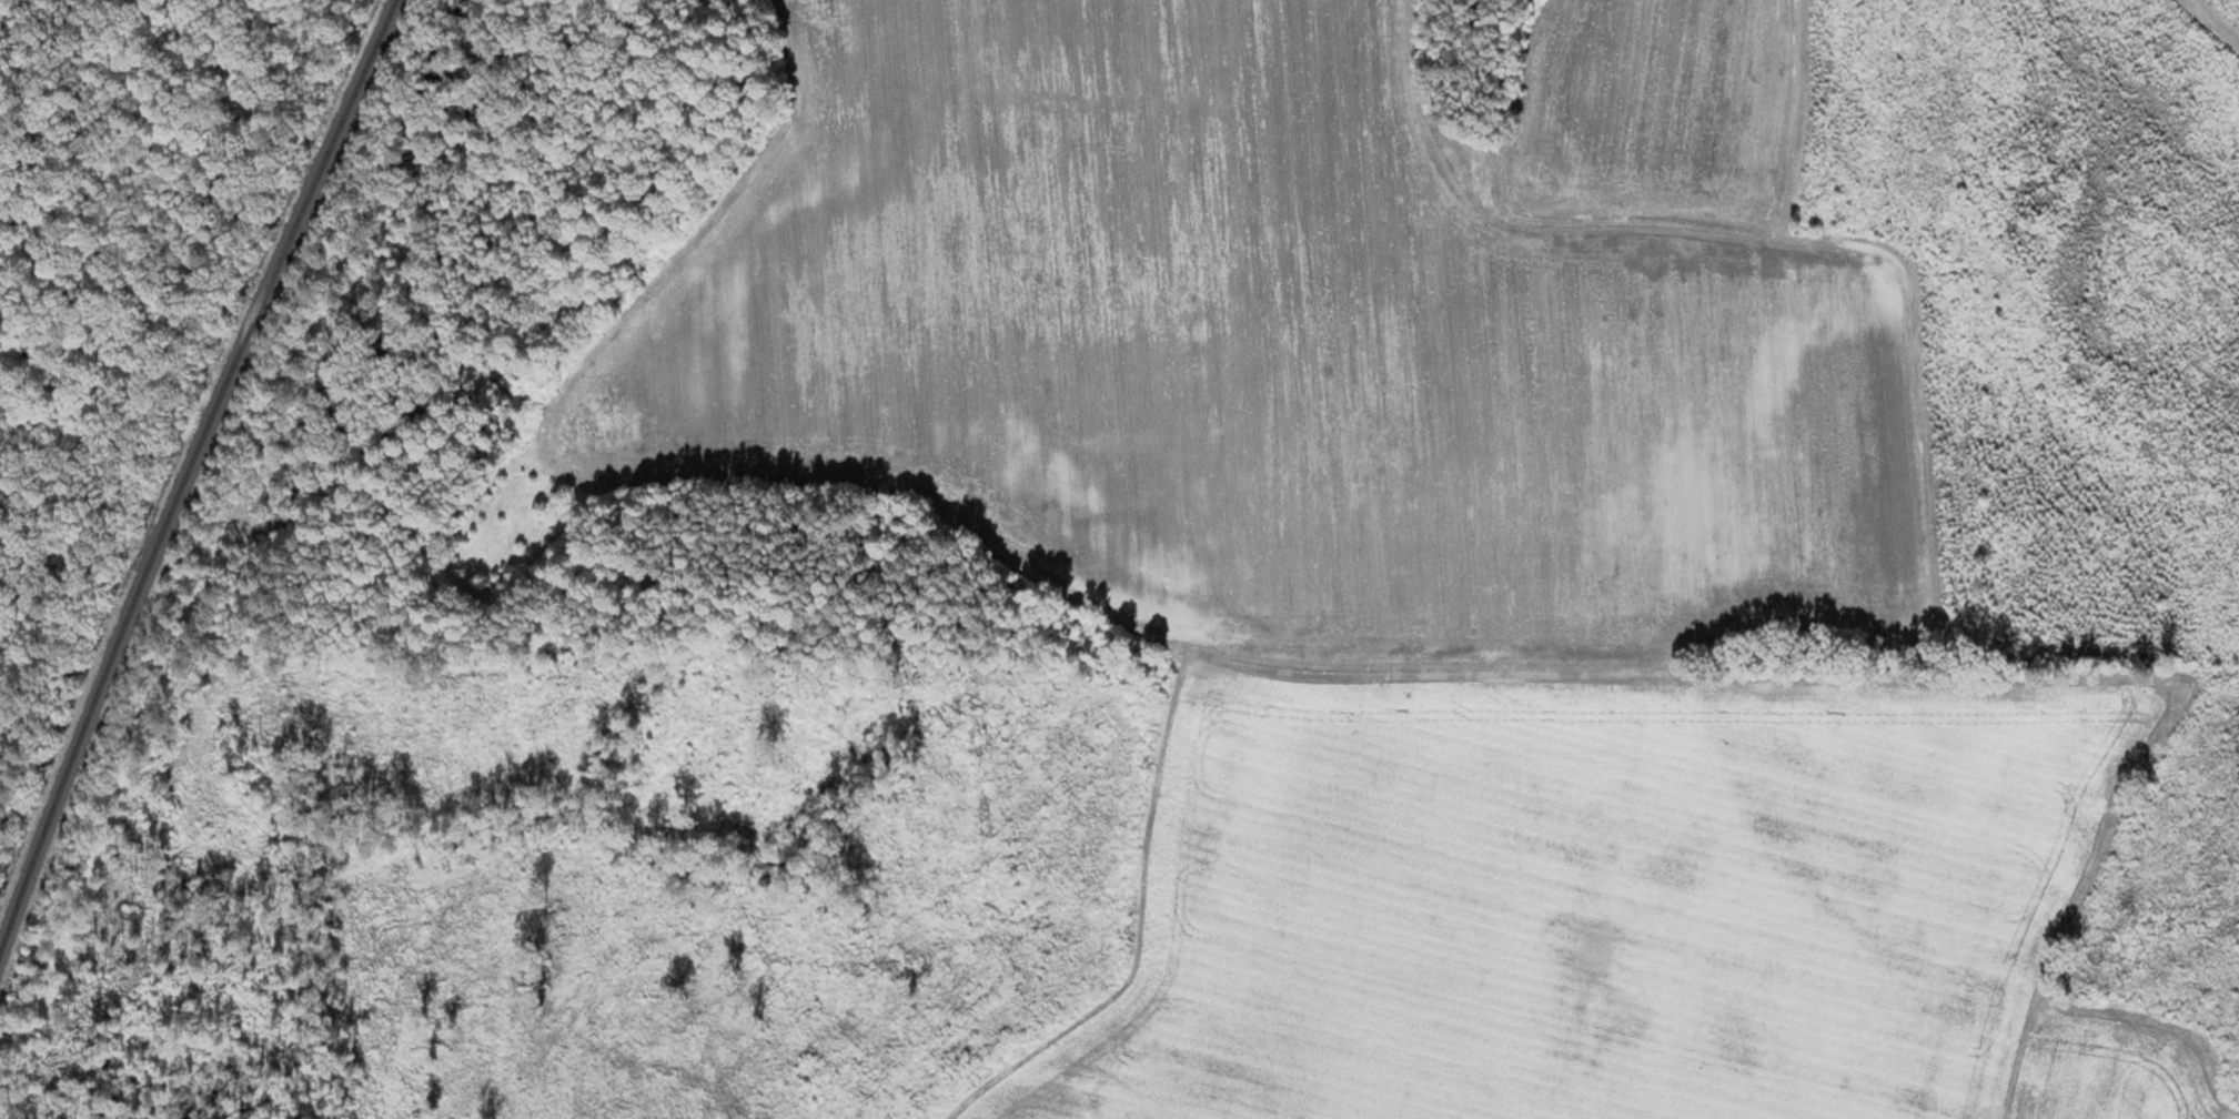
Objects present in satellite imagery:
railway: (188, 473)
road: (2046, 522)

